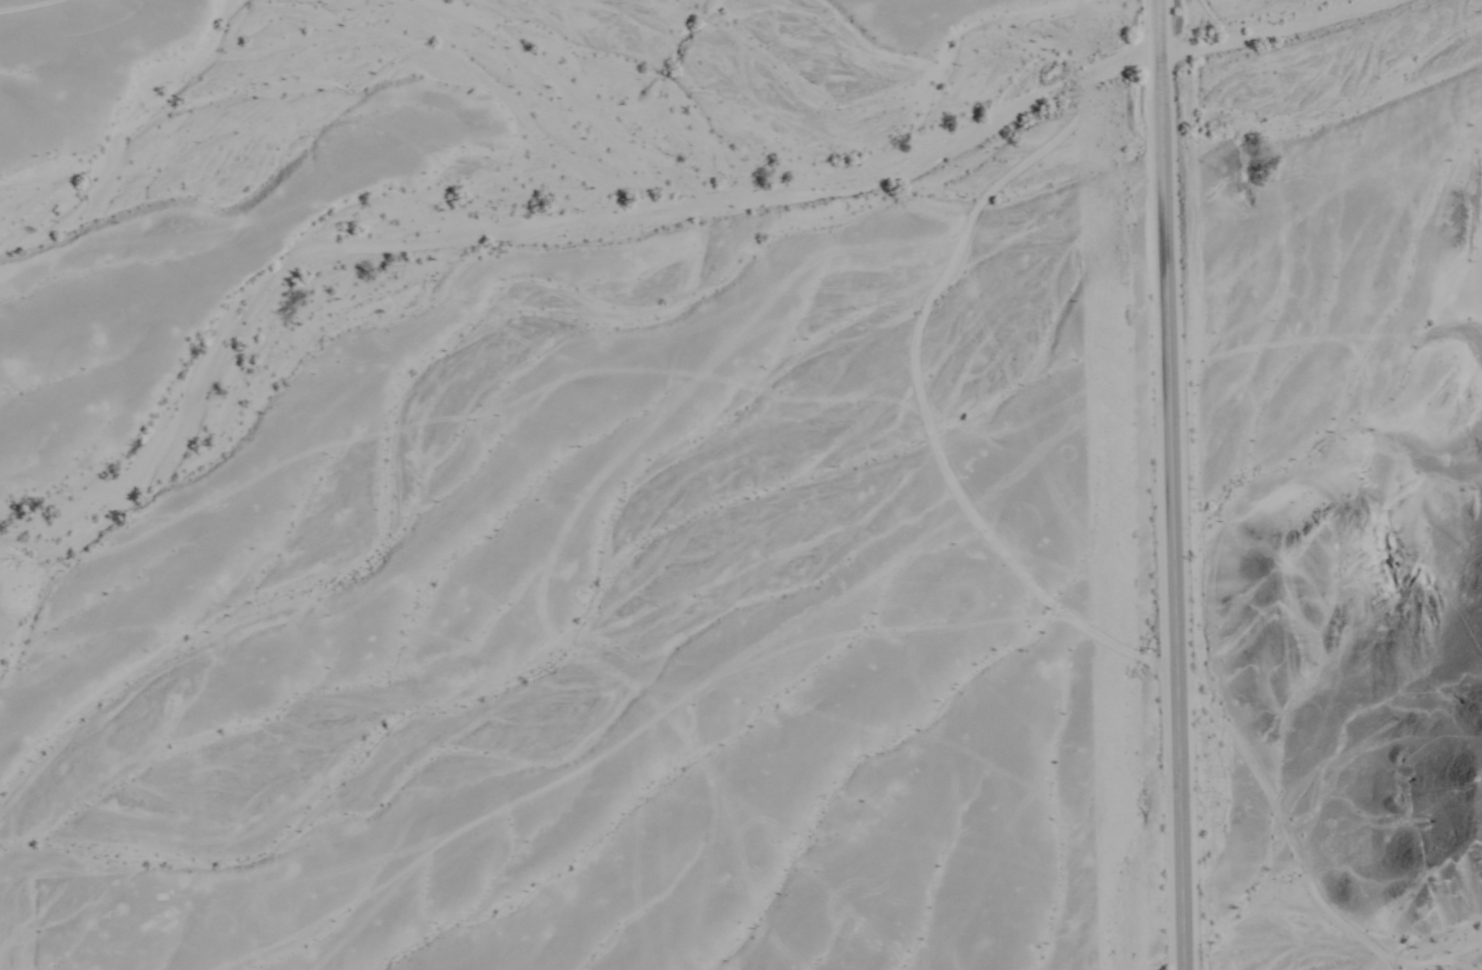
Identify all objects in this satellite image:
road: (1171, 485)
building: (1171, 620)
road: (1284, 823)
road: (1450, 962)

